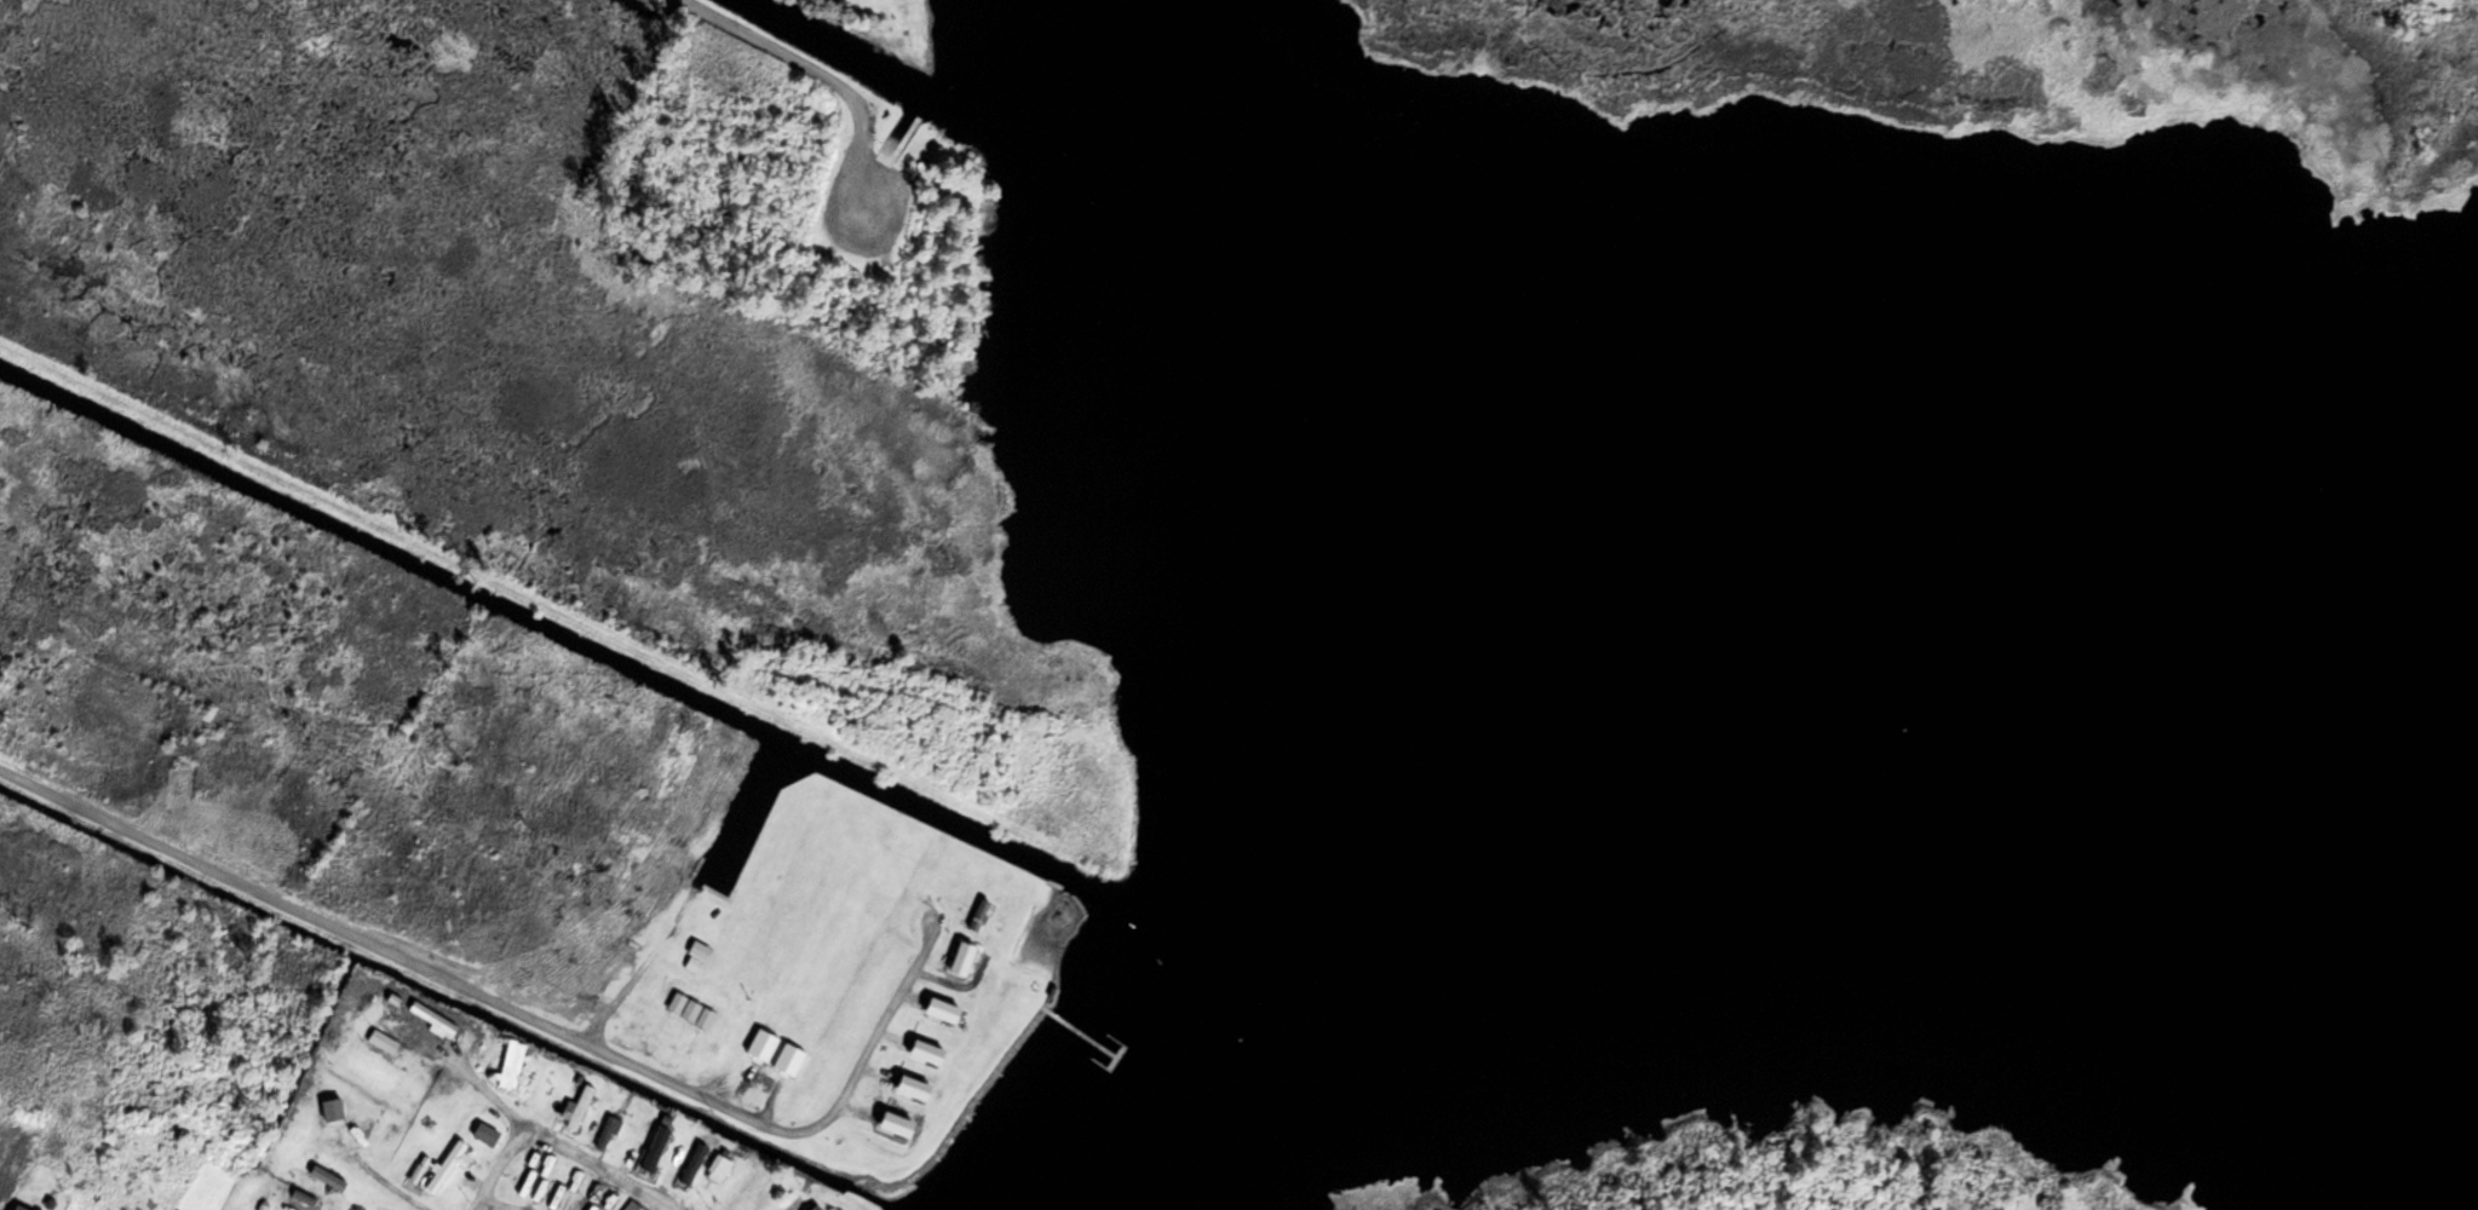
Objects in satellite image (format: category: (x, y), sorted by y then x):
road: (822, 75)
road: (471, 565)
building: (961, 958)
building: (692, 962)
road: (519, 1012)
building: (432, 1018)
building: (511, 1064)
building: (576, 1102)
building: (329, 1110)
building: (606, 1131)
building: (485, 1133)
building: (655, 1147)
road: (511, 1156)
building: (406, 1163)
building: (449, 1164)
building: (691, 1165)
building: (719, 1166)
building: (327, 1176)
road: (614, 1177)
building: (300, 1200)
building: (633, 1205)
building: (21, 1206)
building: (816, 1208)

